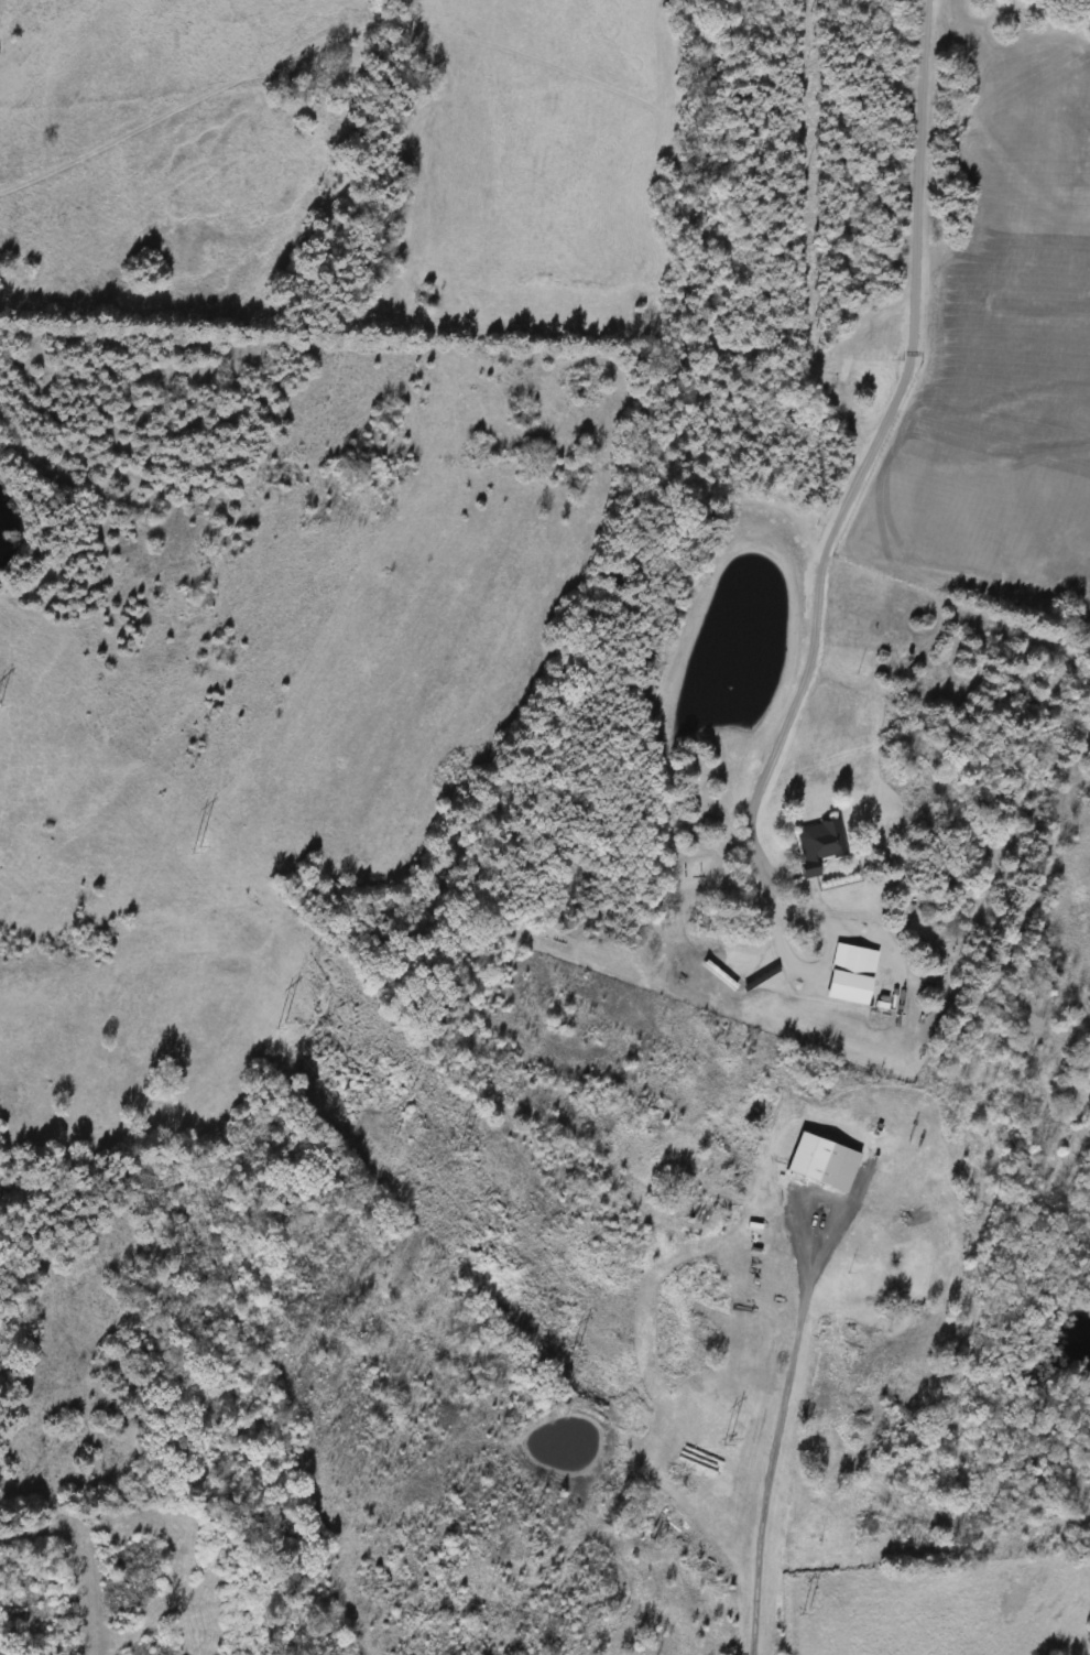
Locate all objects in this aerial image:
road: (883, 435)
building: (814, 845)
power tower: (172, 851)
building: (855, 962)
power tower: (257, 1018)
power tower: (444, 1144)
building: (821, 1161)
power tower: (707, 1440)
road: (776, 1442)
power tower: (787, 1608)

